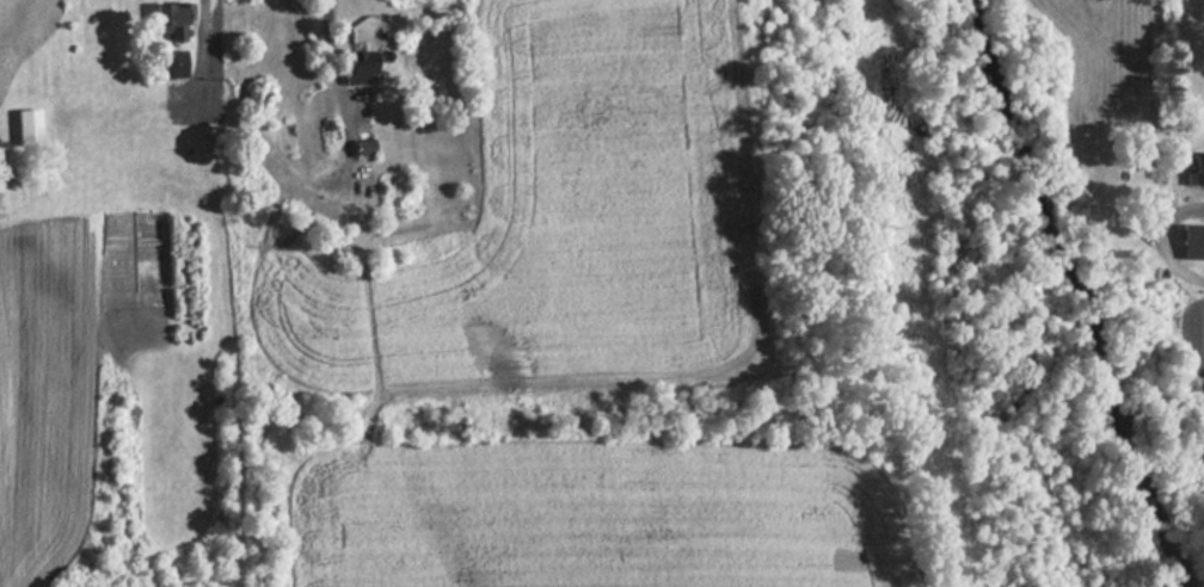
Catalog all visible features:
building: (165, 21)
road: (326, 38)
road: (203, 50)
building: (170, 63)
building: (349, 66)
building: (23, 126)
building: (1194, 168)
road: (1167, 231)
building: (1193, 236)

